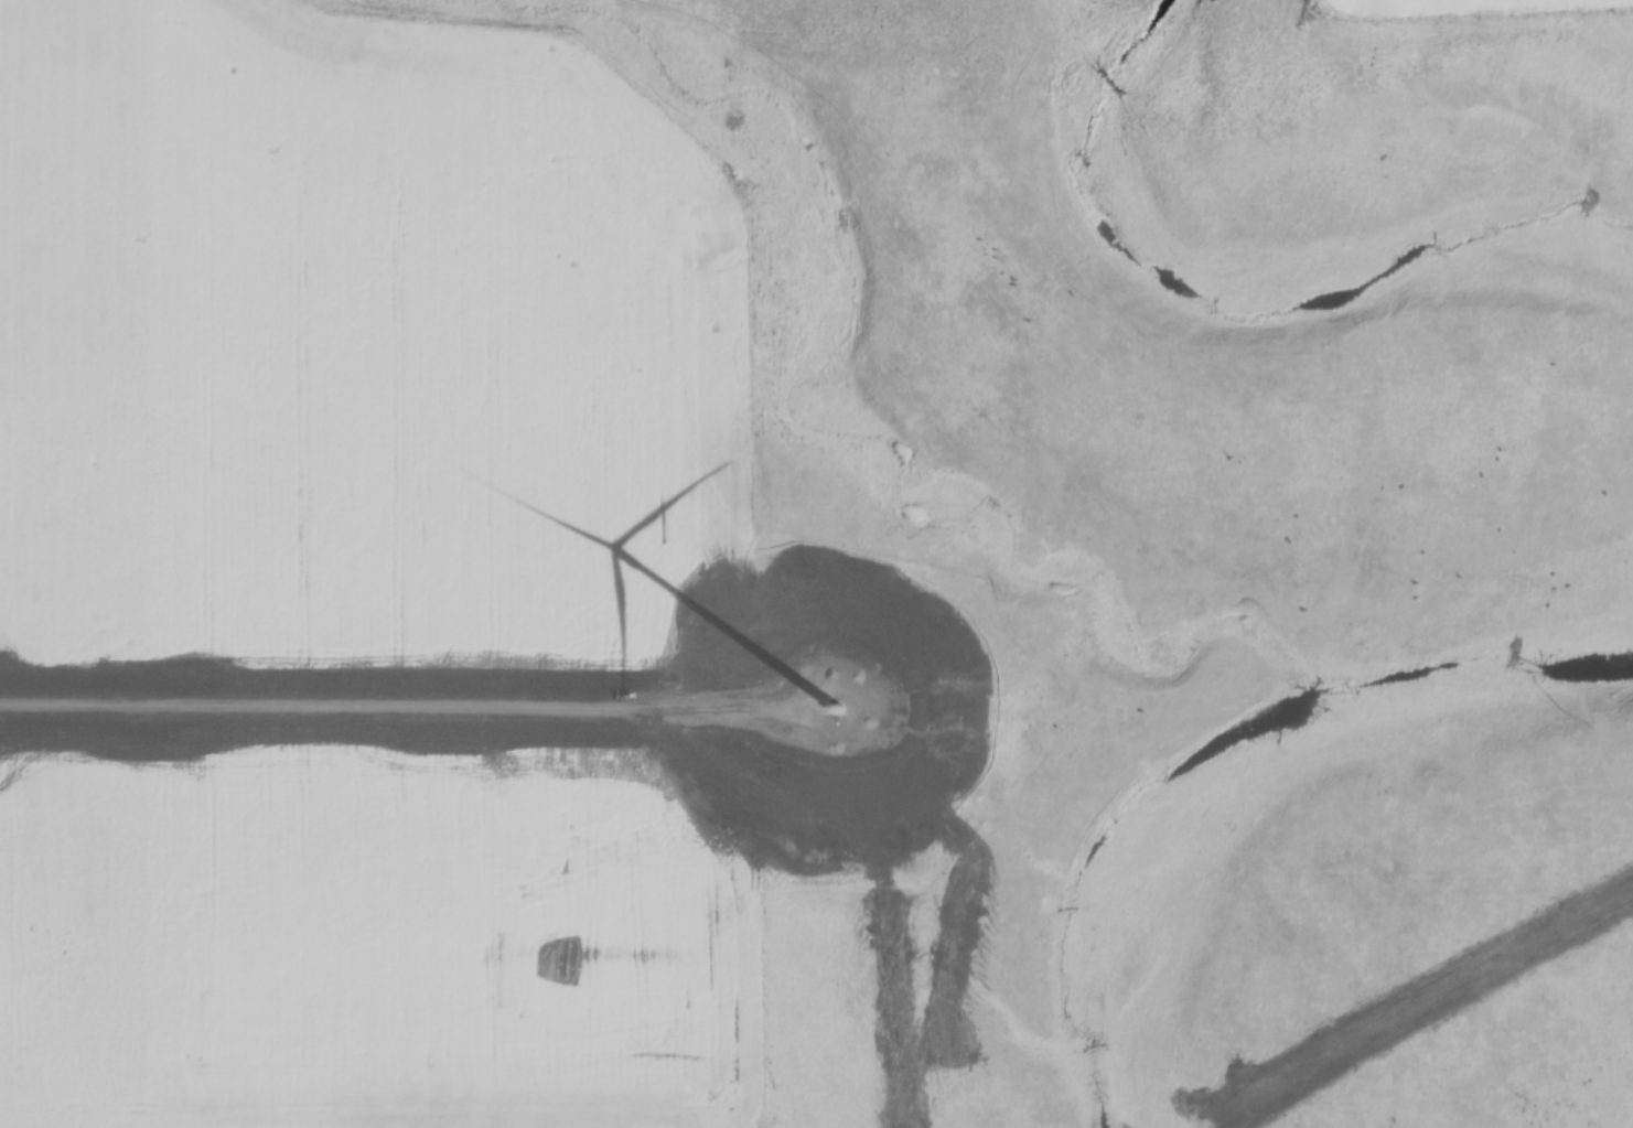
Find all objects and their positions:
wind turbine: (838, 708)

